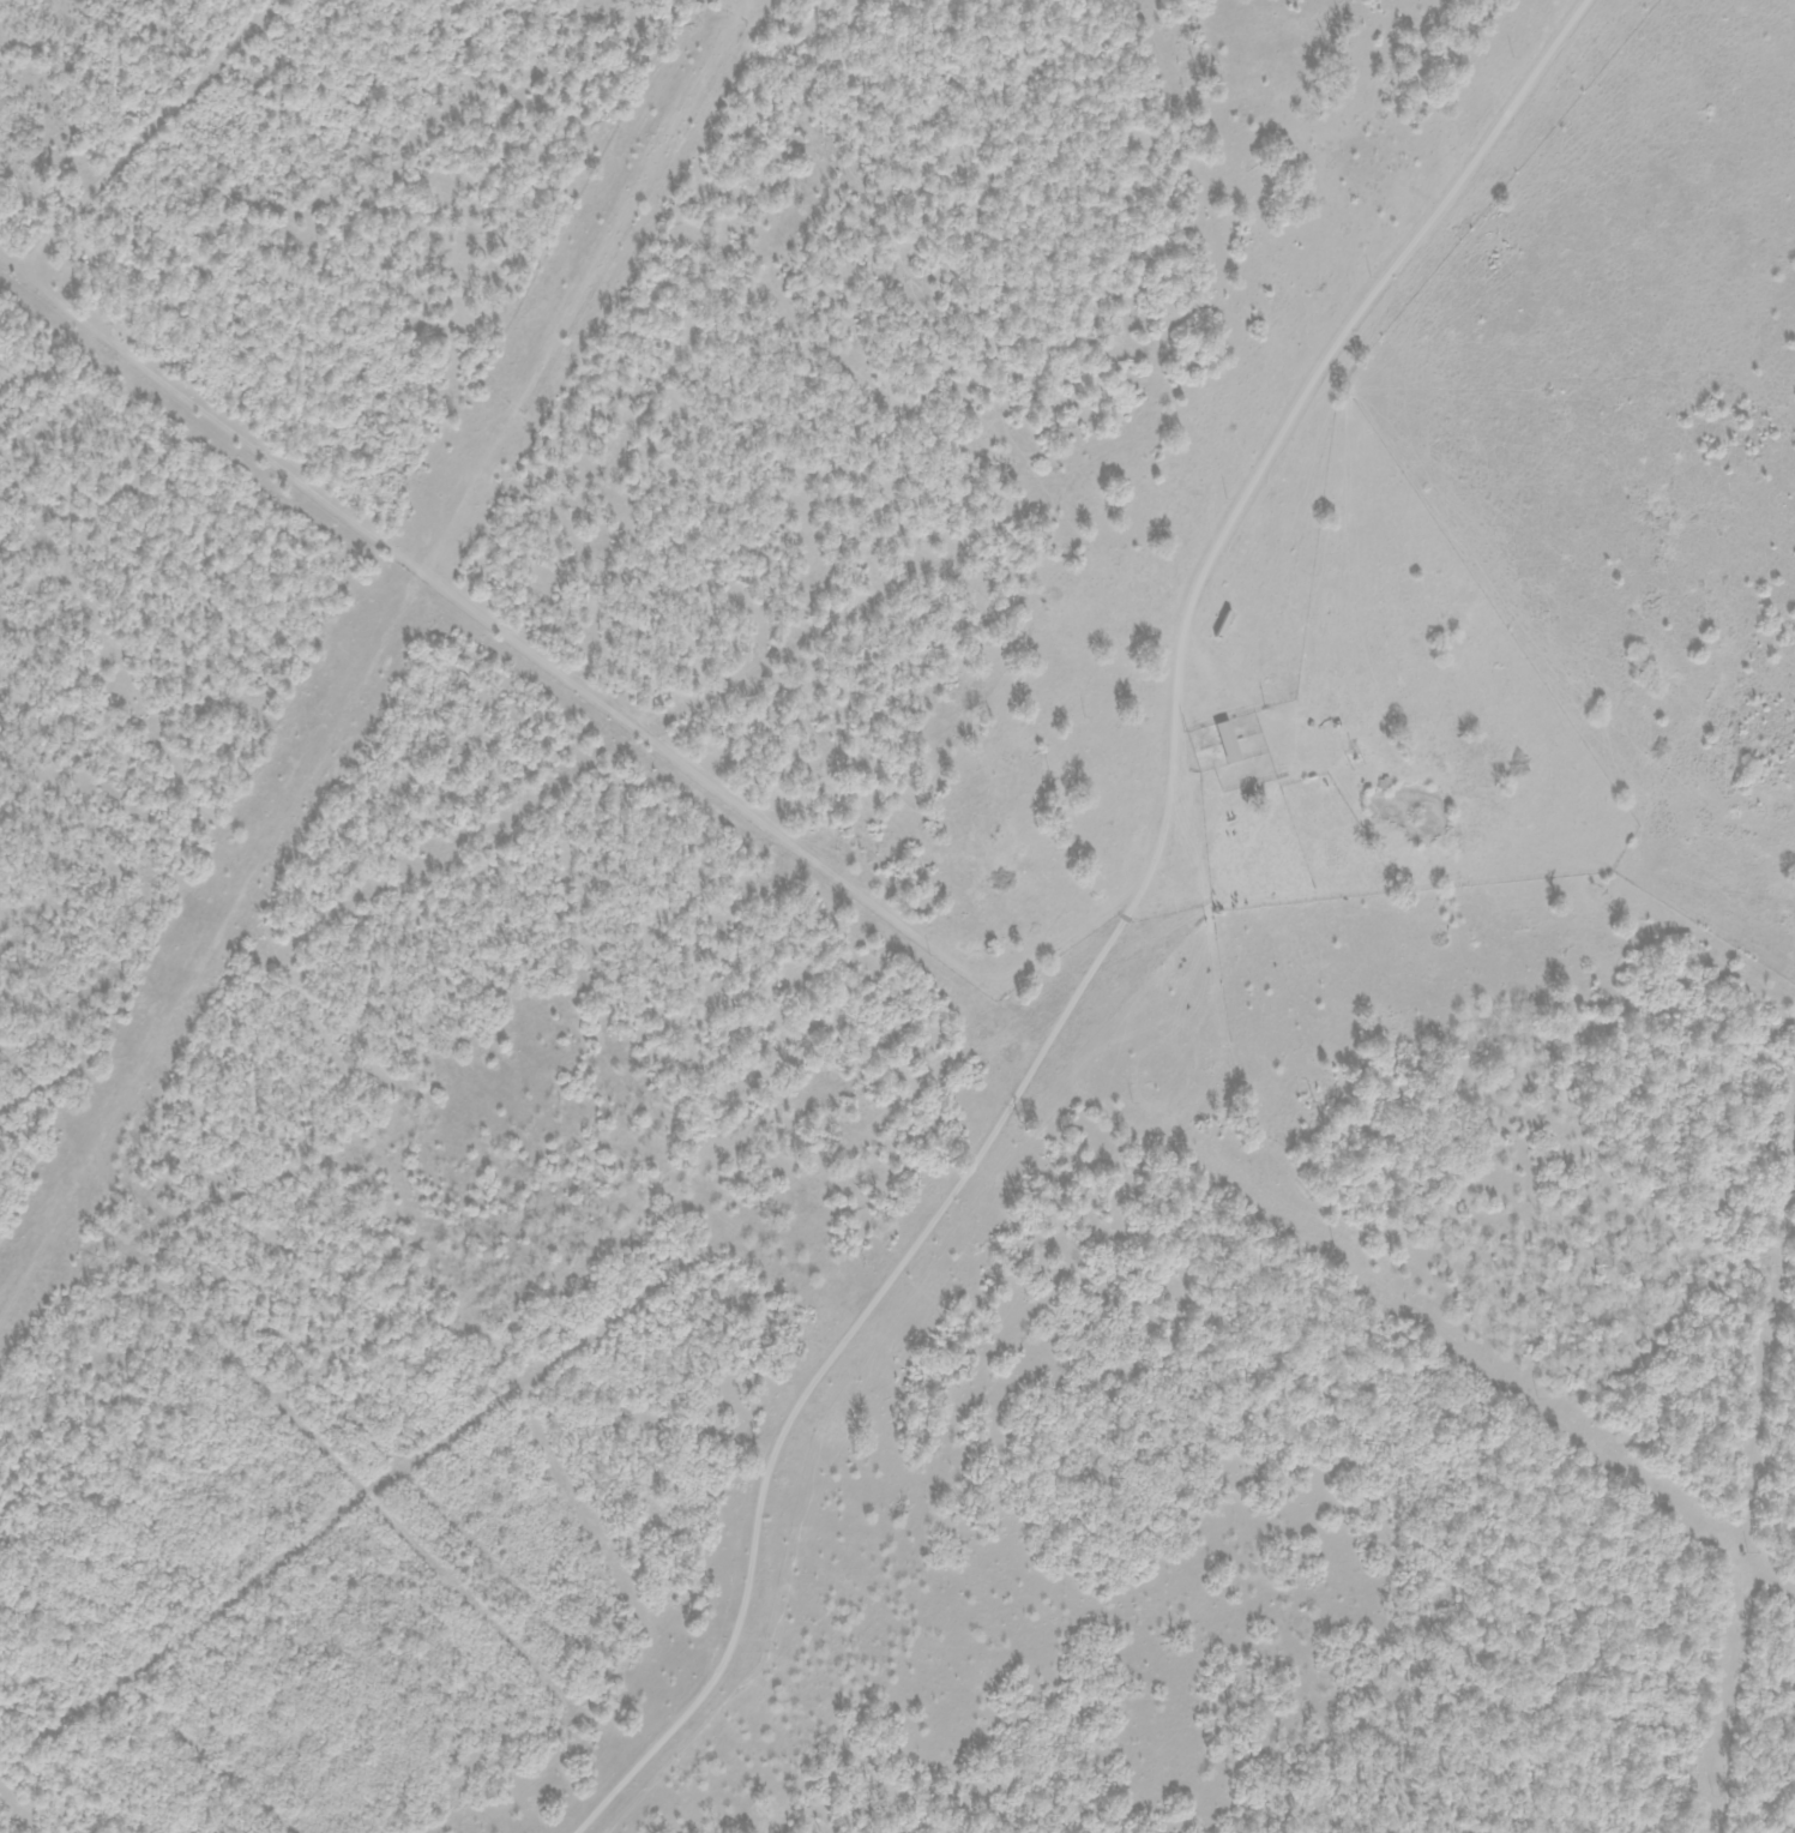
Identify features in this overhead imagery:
building: (1227, 741)

